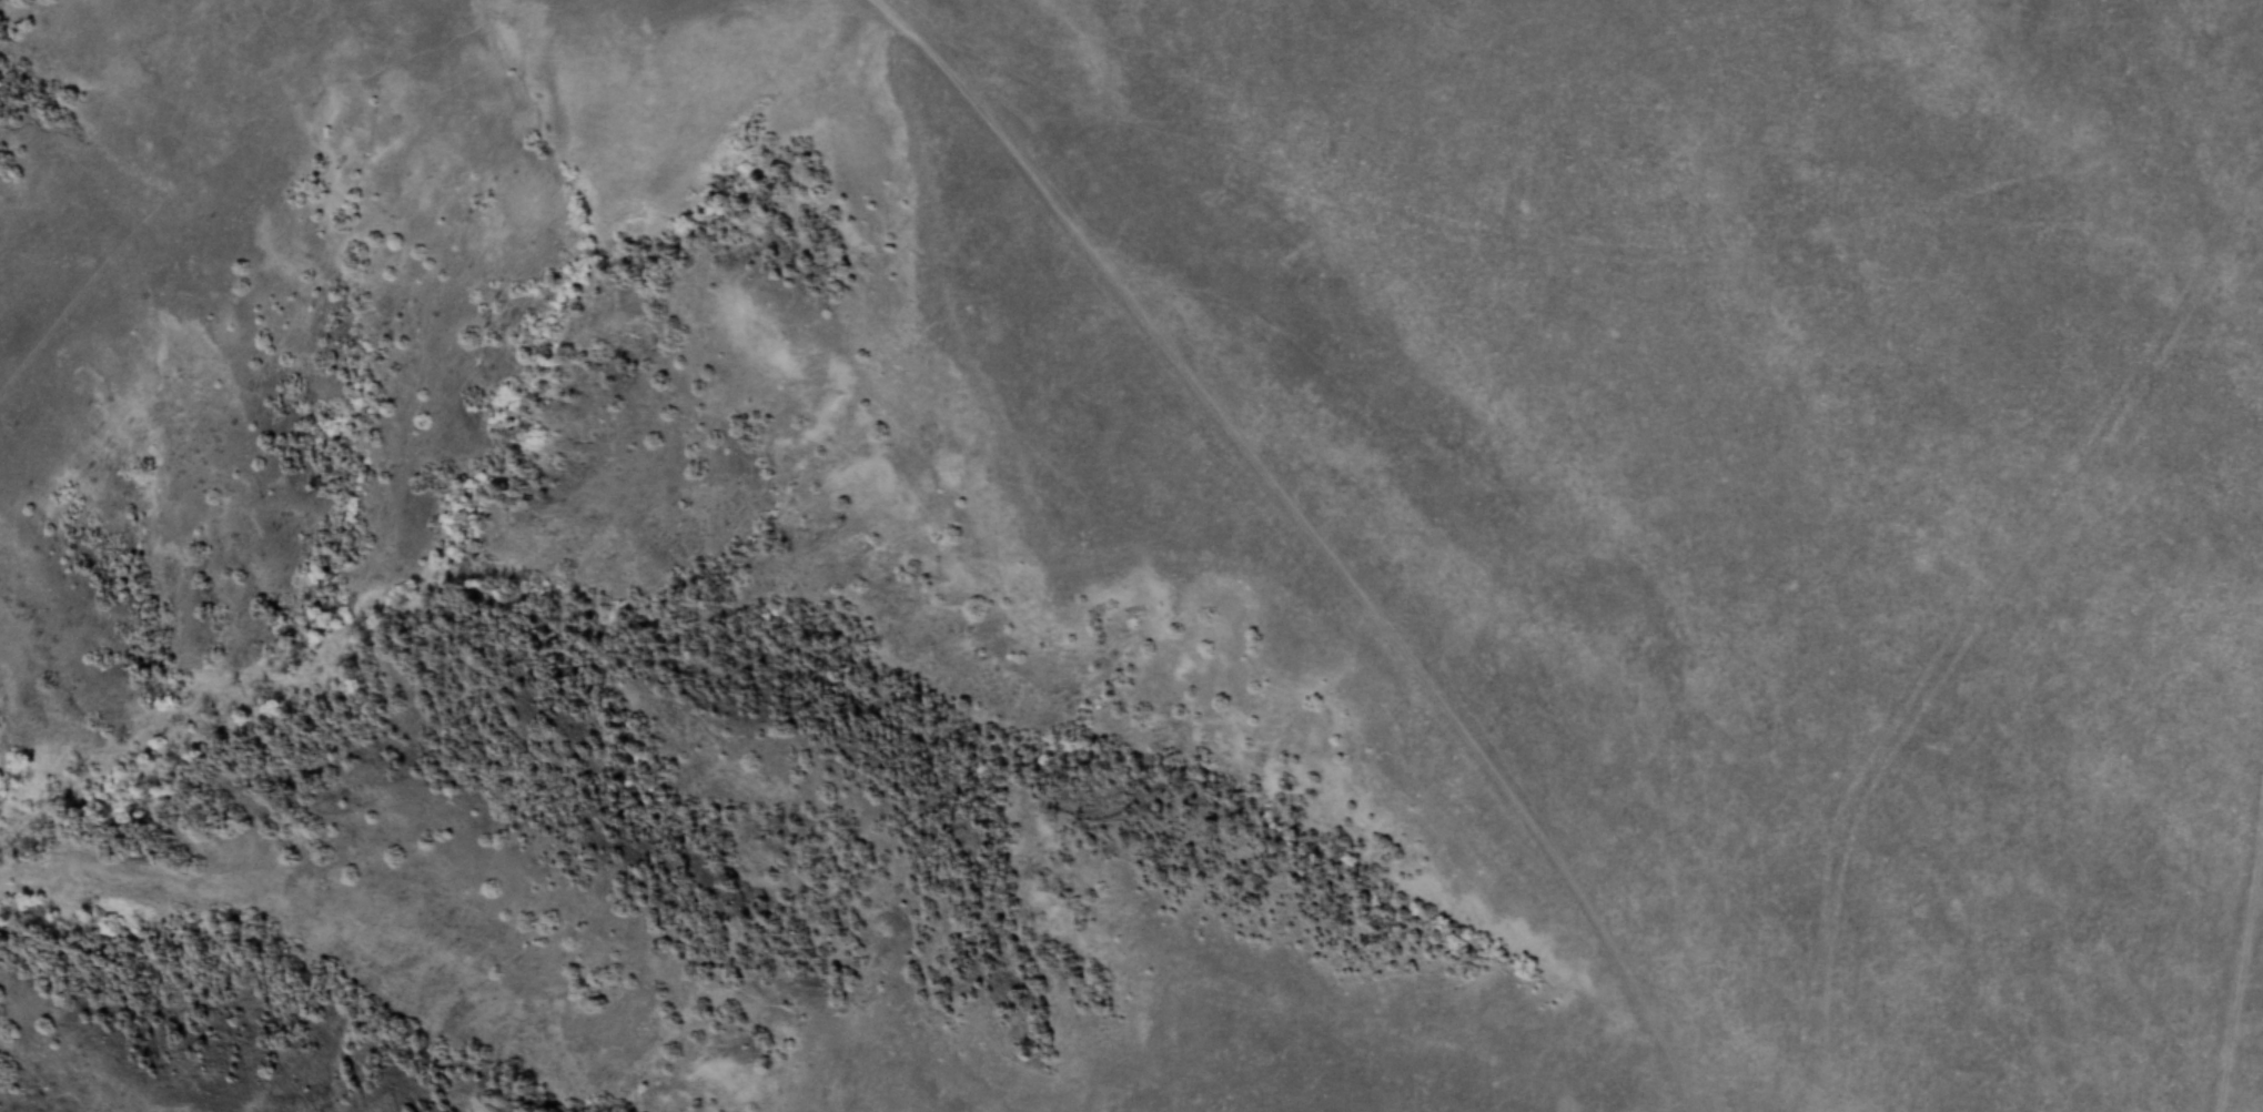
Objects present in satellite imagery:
road: (1328, 507)
road: (1977, 617)

